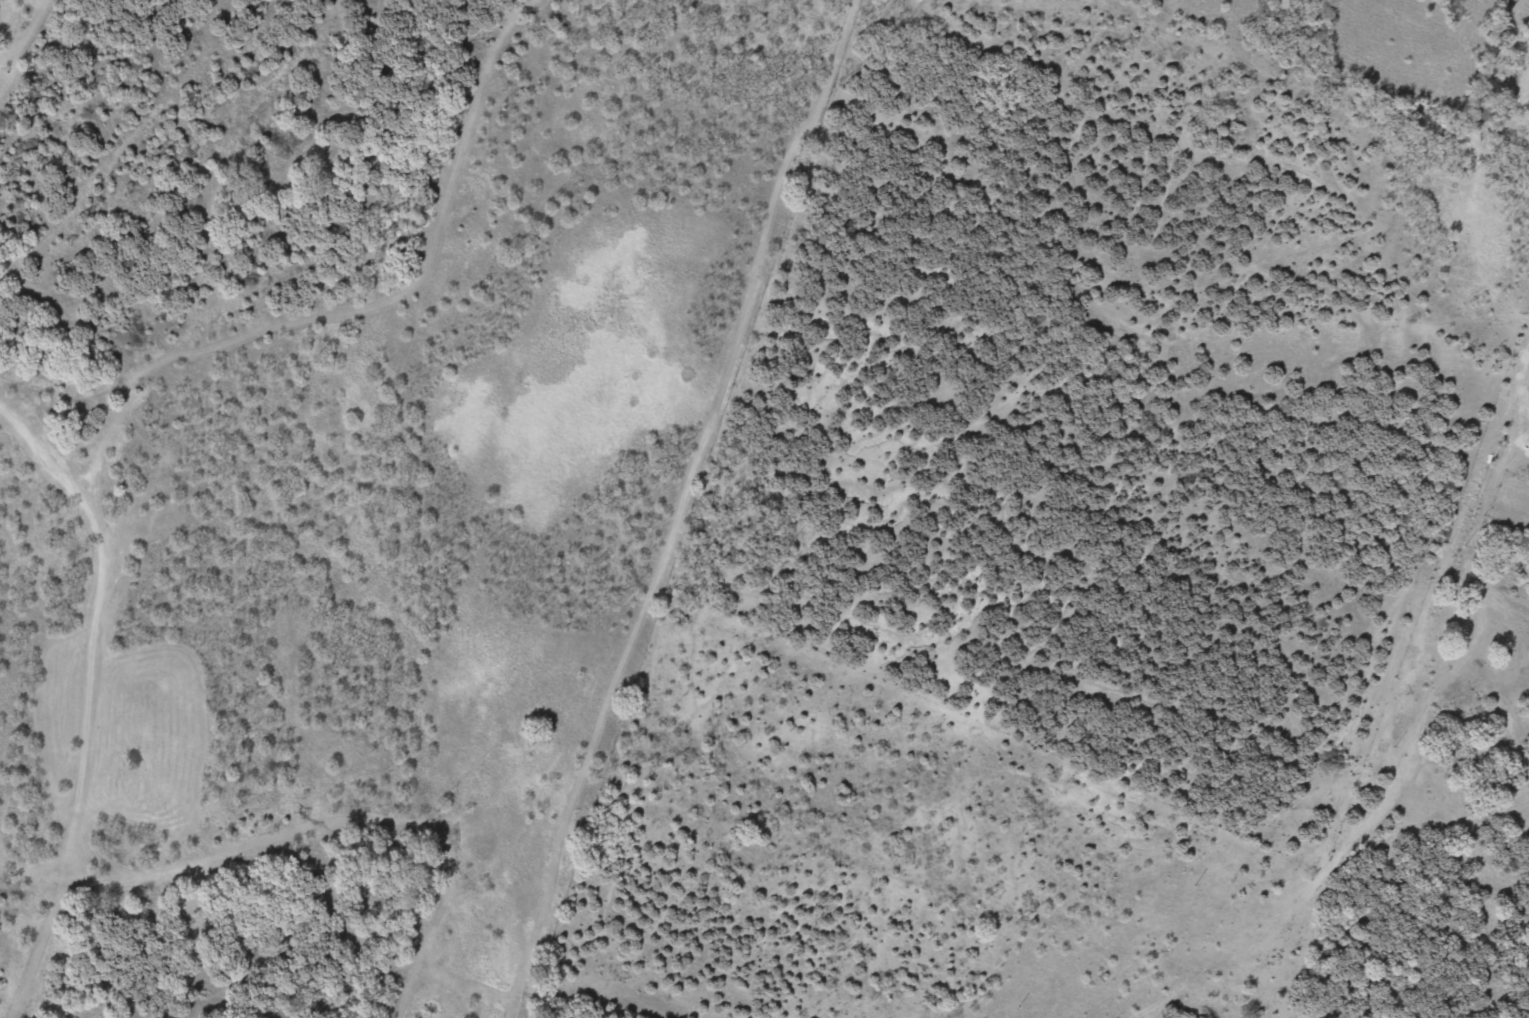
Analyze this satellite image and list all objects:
building: (1502, 32)
building: (1486, 107)

